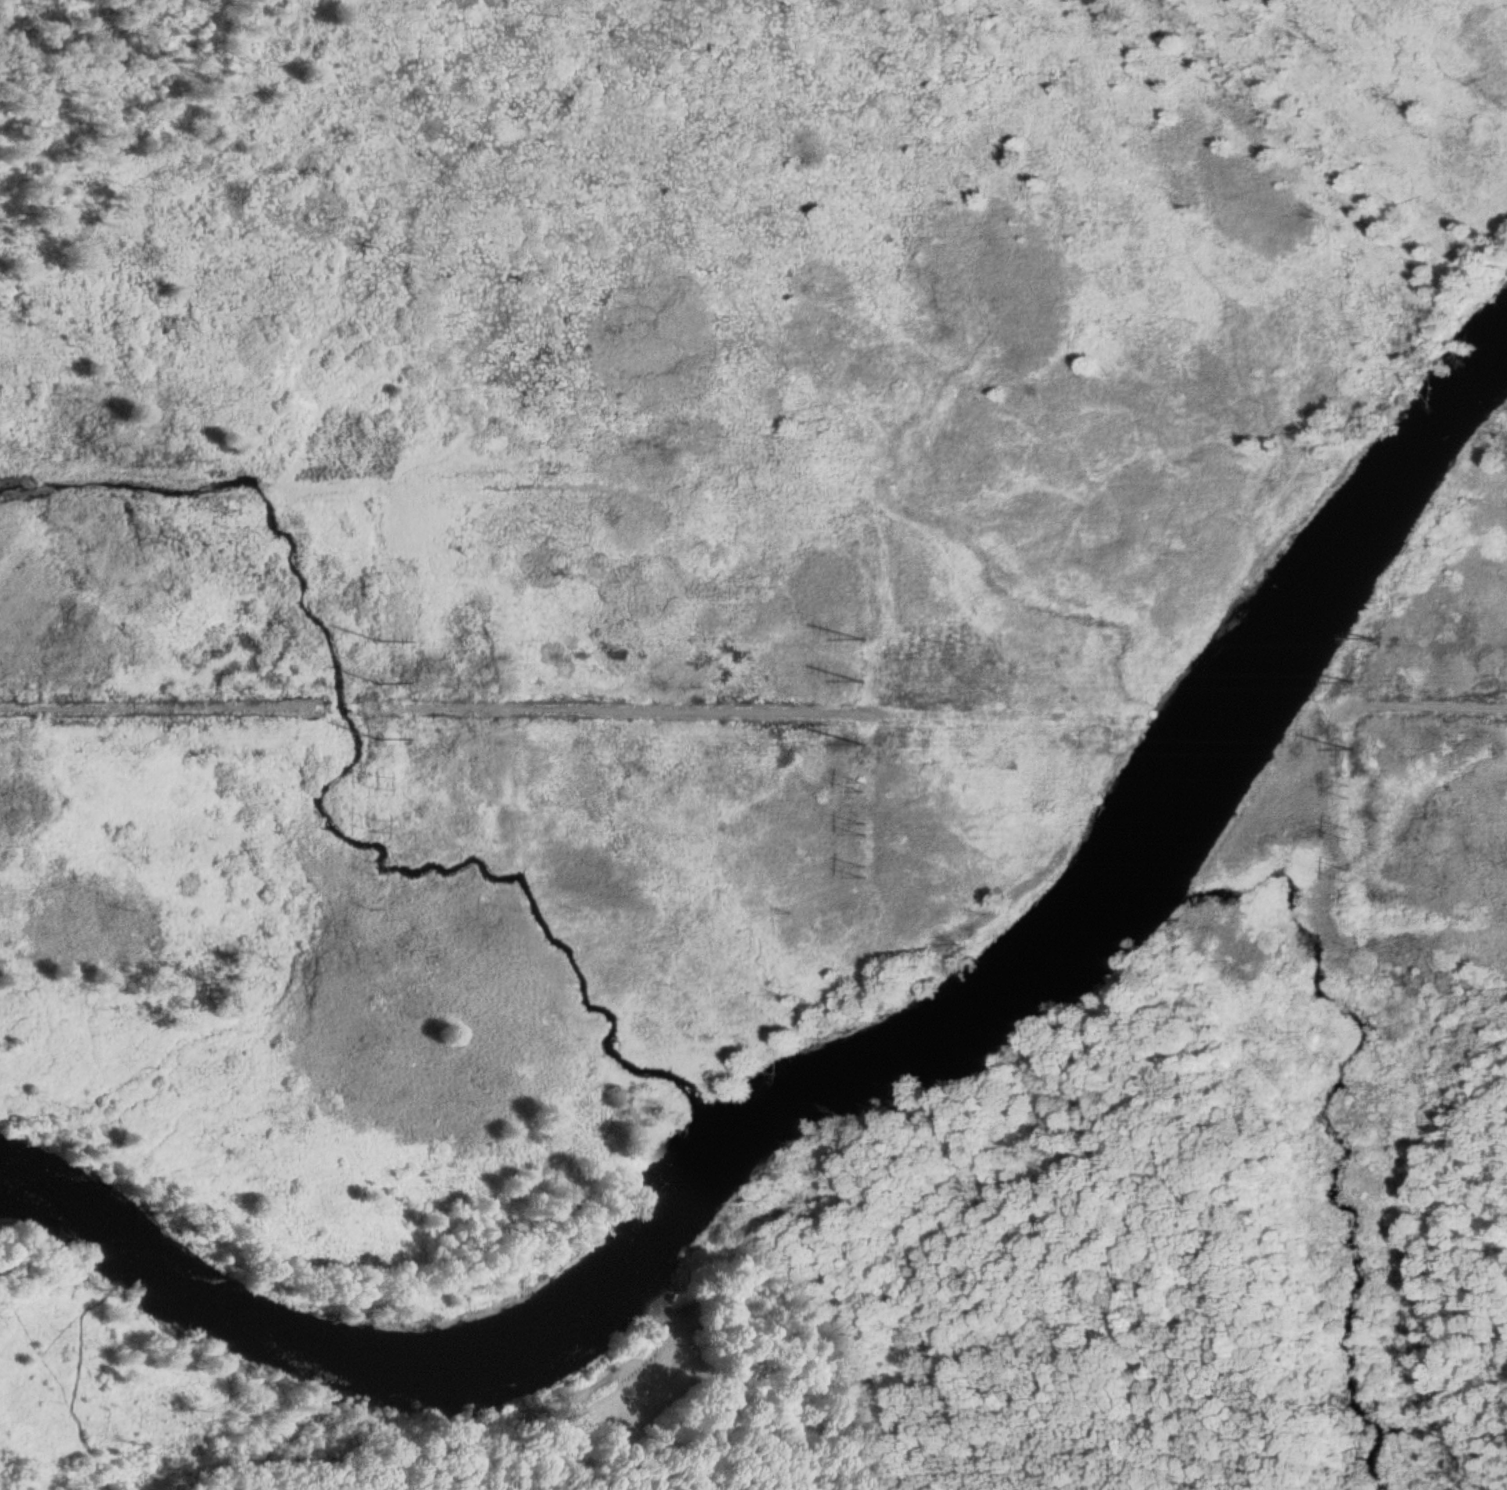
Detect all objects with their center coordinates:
power tower: (1370, 638)
power tower: (862, 640)
power tower: (371, 641)
power tower: (862, 678)
power tower: (1350, 680)
power tower: (373, 682)
road: (1428, 707)
power tower: (375, 735)
power tower: (864, 741)
power tower: (1352, 747)
power tower: (374, 780)
power tower: (865, 784)
power tower: (1350, 790)
power tower: (372, 822)
power tower: (866, 827)
power tower: (1350, 833)
power tower: (369, 864)
power tower: (866, 870)
power tower: (1349, 877)
river: (841, 1067)
road: (558, 1429)

